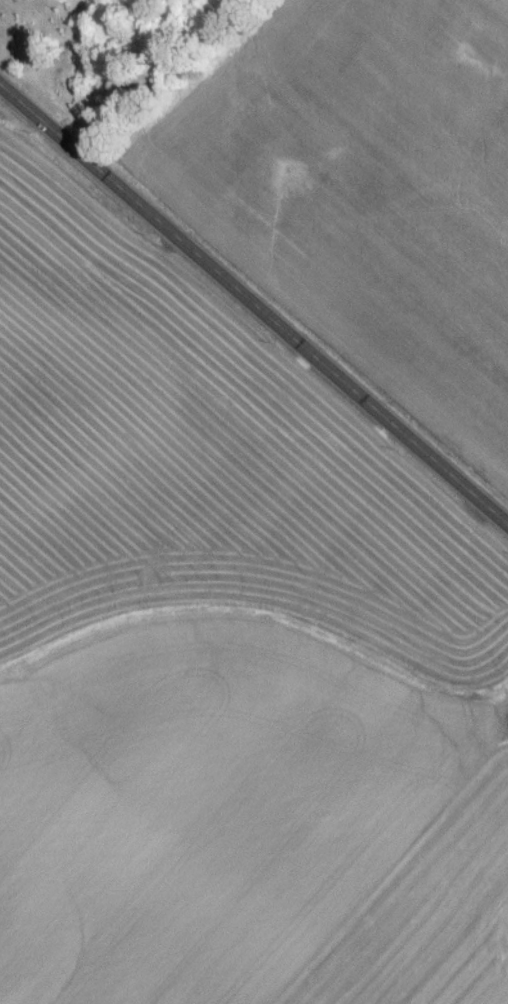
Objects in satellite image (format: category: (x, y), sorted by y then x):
road: (254, 313)

